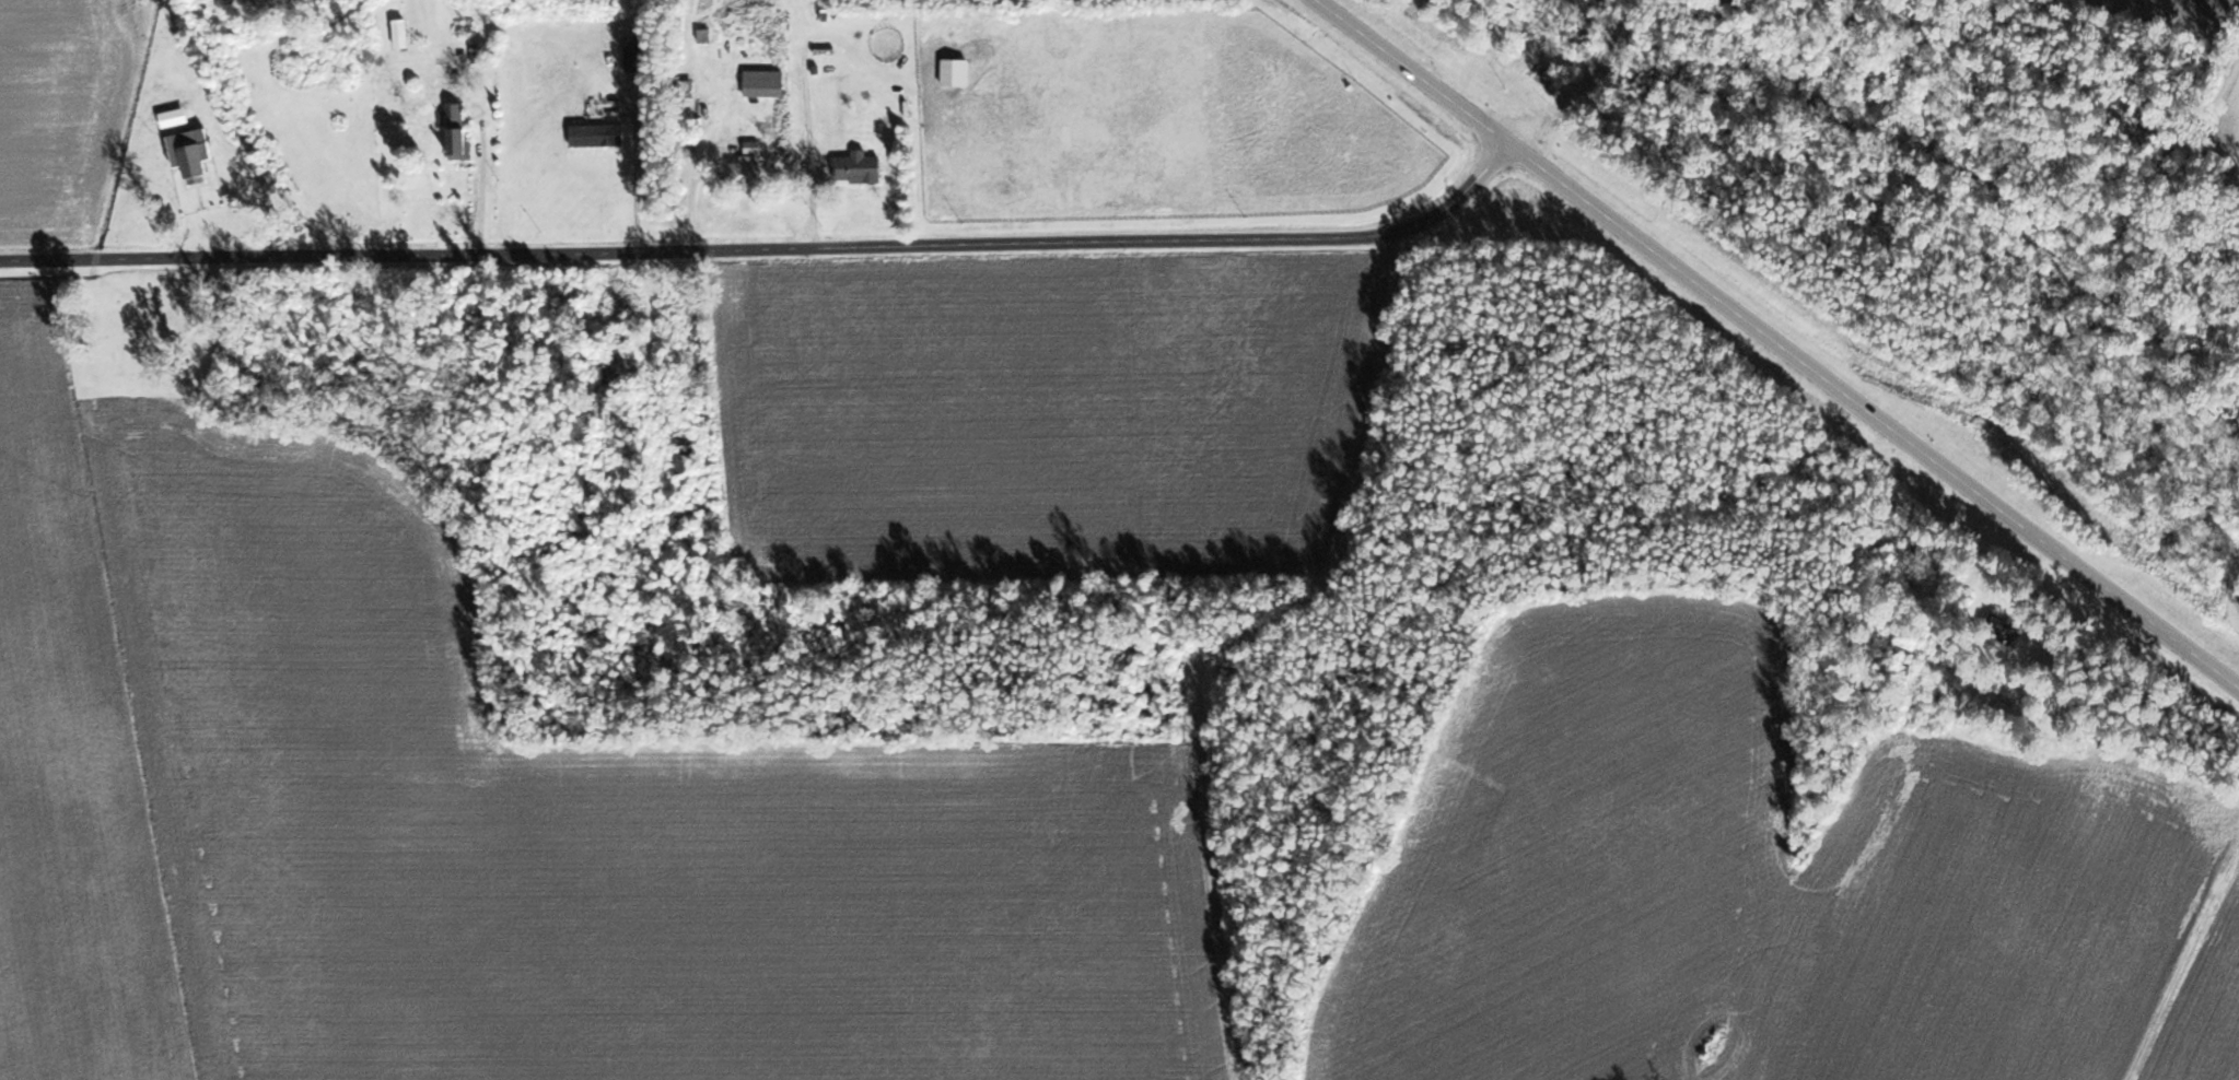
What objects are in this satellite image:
building: (399, 31)
building: (954, 70)
building: (763, 81)
building: (686, 86)
building: (456, 131)
building: (190, 152)
building: (858, 166)
building: (746, 174)
road: (771, 248)
road: (1777, 341)
building: (2001, 629)
building: (1969, 695)

